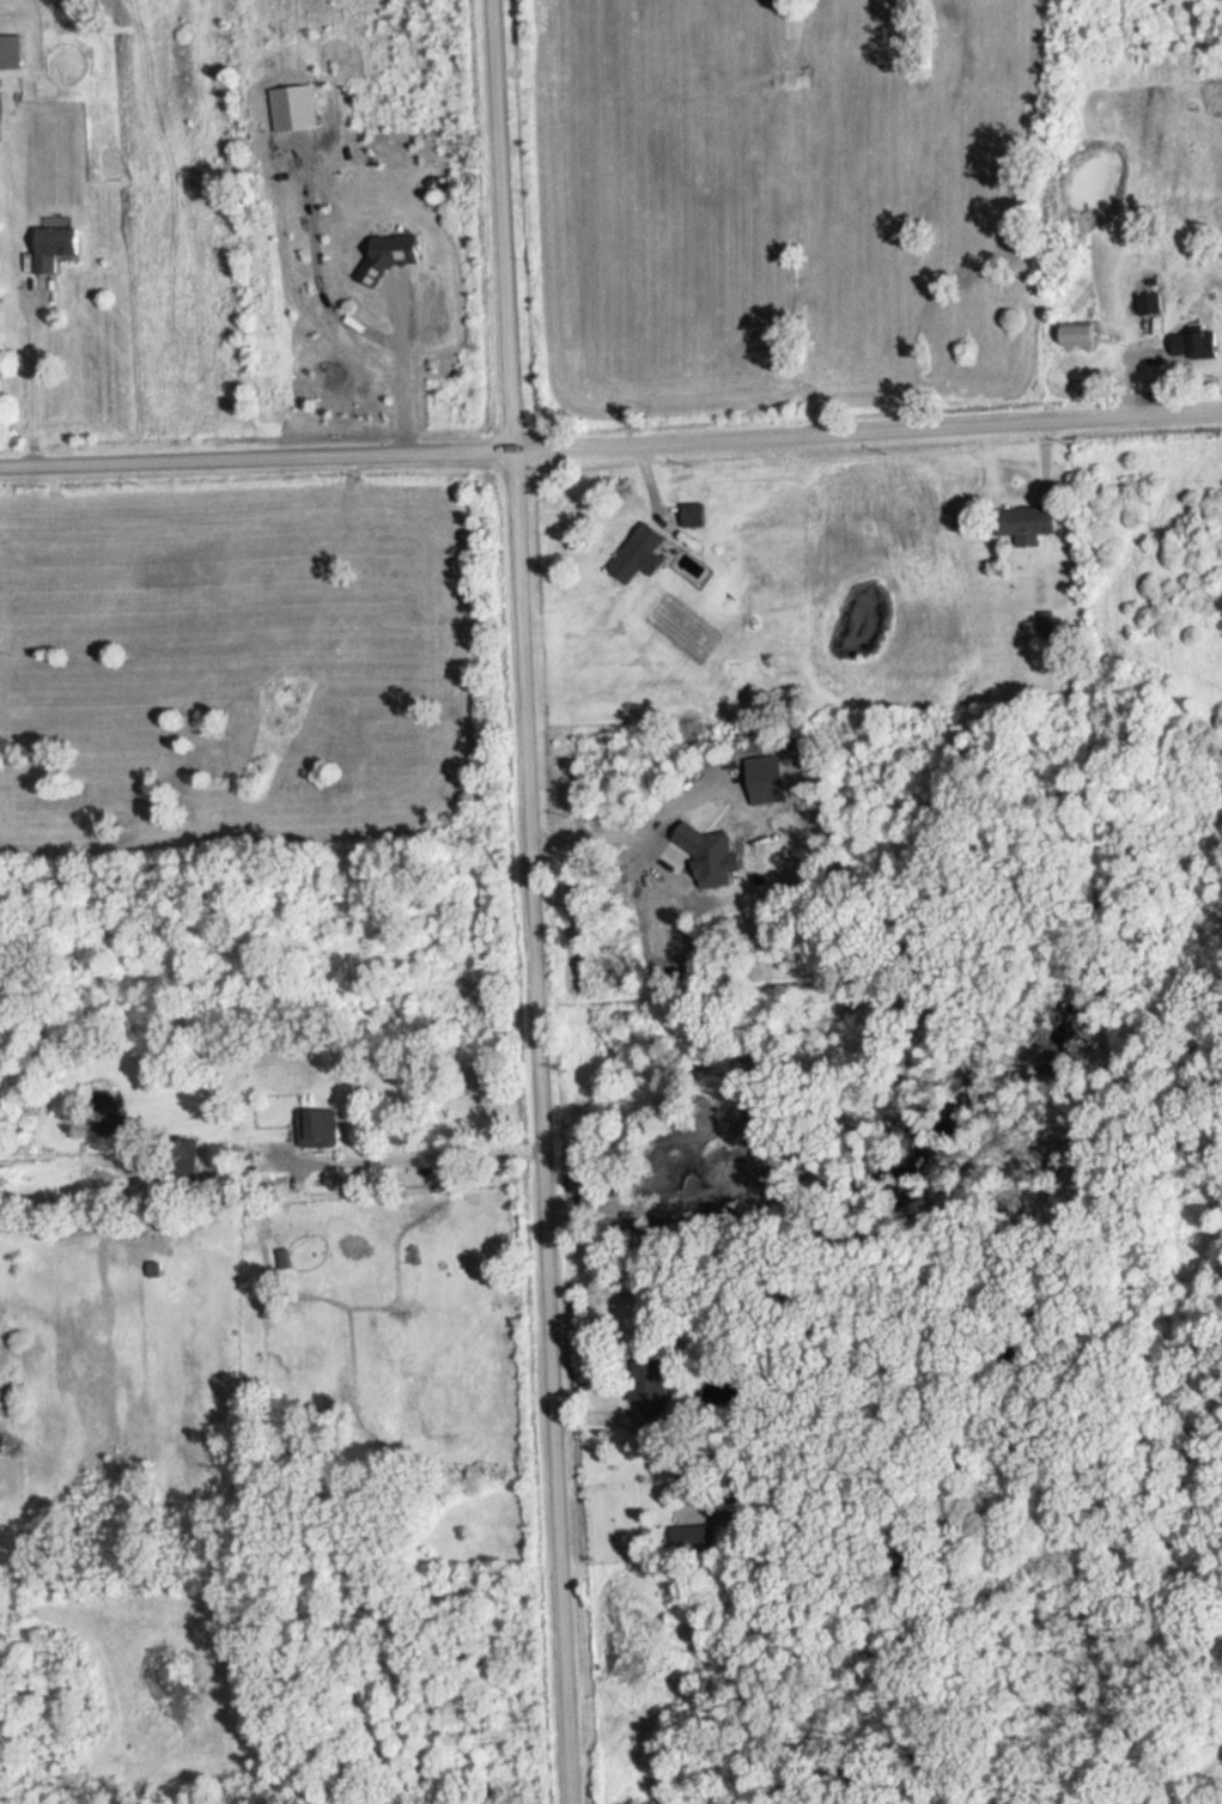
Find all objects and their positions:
building: (11, 53)
building: (56, 244)
road: (371, 364)
road: (31, 388)
road: (610, 443)
building: (694, 514)
building: (640, 554)
road: (603, 825)
road: (529, 901)
building: (320, 1129)
road: (413, 1156)

